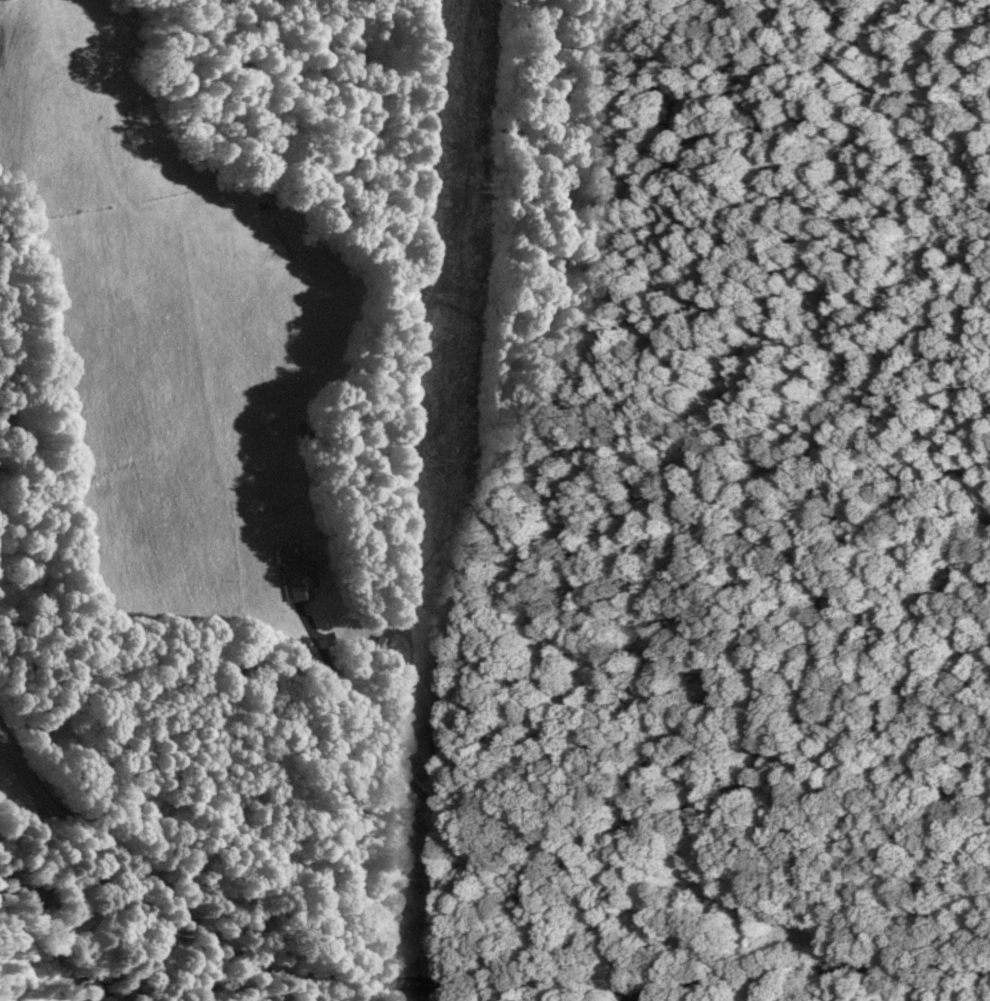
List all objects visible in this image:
building: (293, 570)
road: (430, 961)
road: (440, 981)

